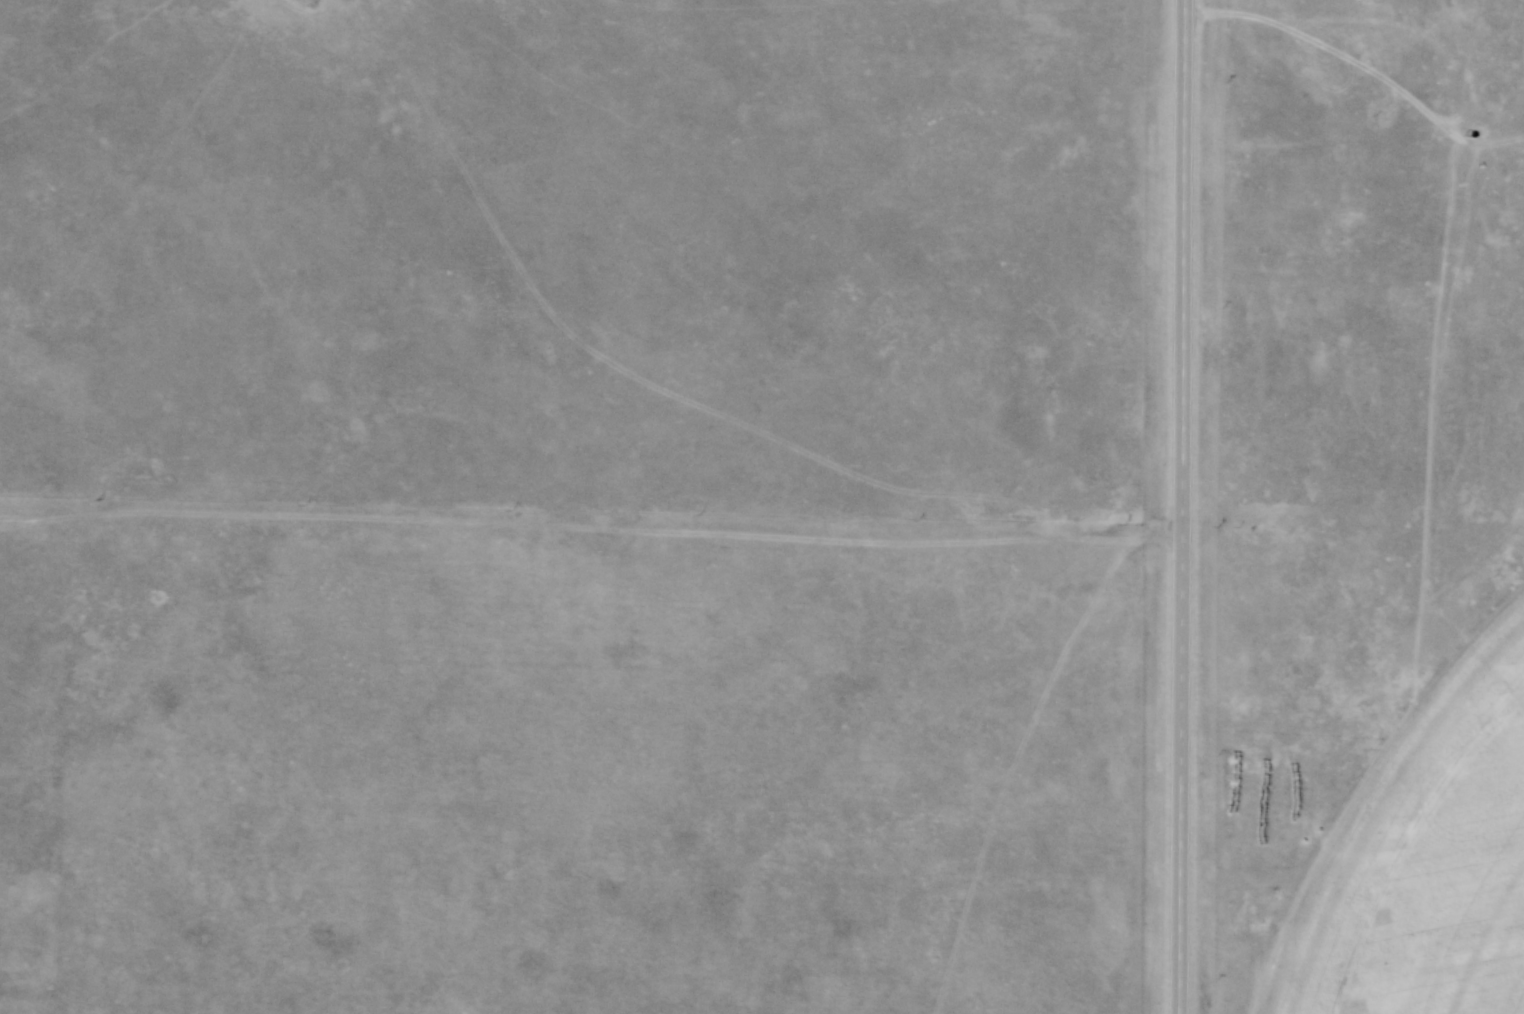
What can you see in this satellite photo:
road: (1178, 507)
crop: (1433, 872)

